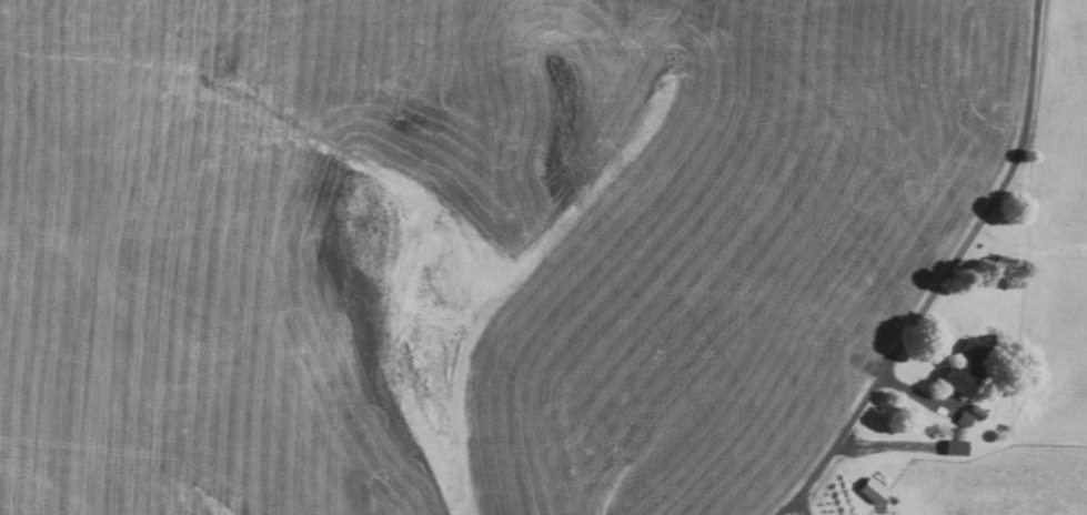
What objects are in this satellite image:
road: (949, 272)
building: (964, 382)
building: (965, 418)
building: (958, 446)
building: (875, 491)
road: (805, 505)

